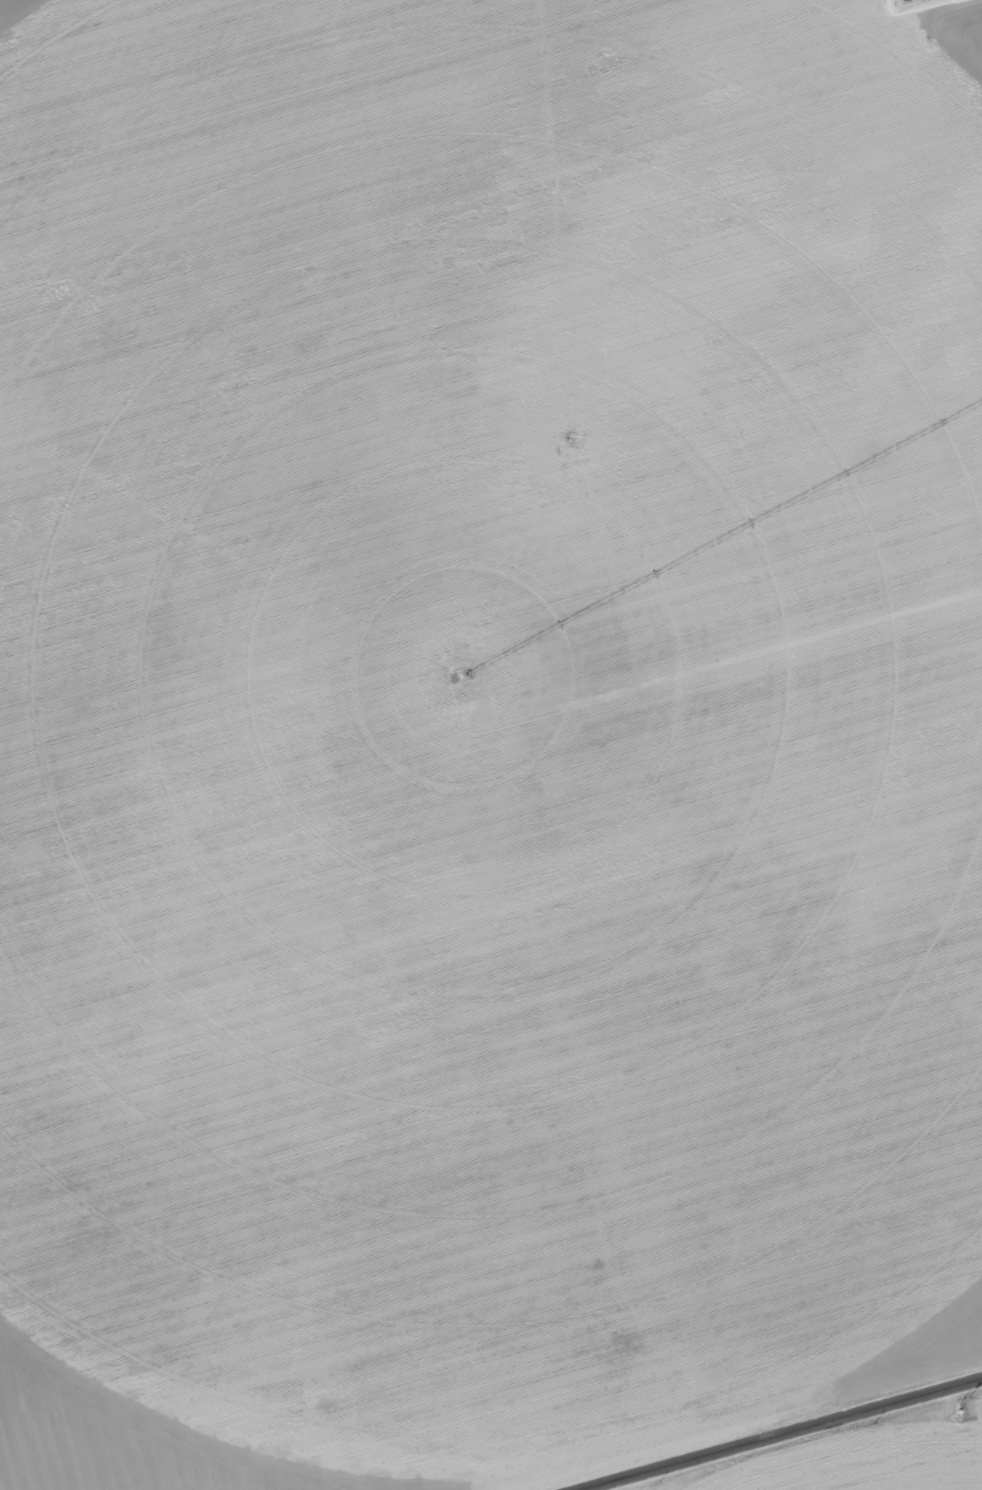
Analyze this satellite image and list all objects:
road: (771, 1432)

